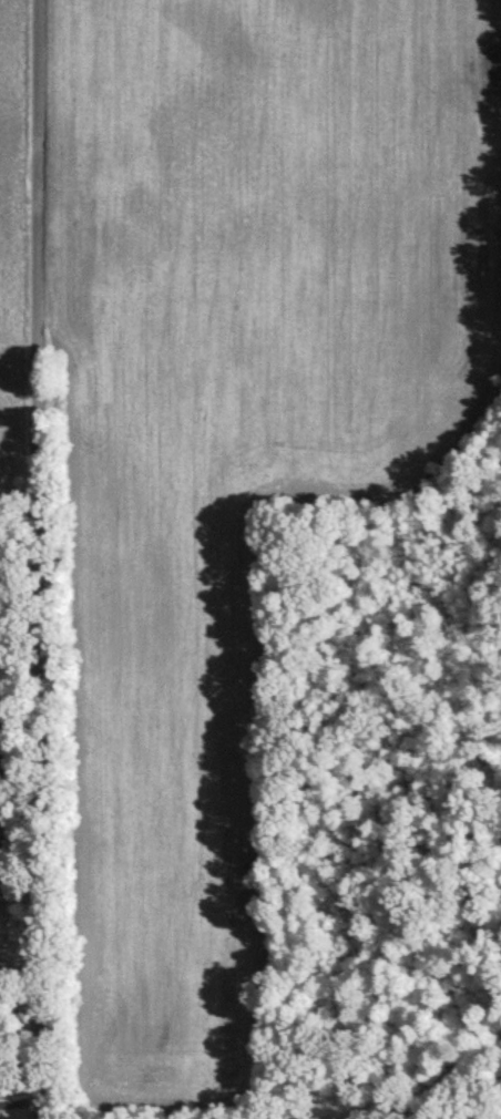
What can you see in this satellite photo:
road: (44, 558)

